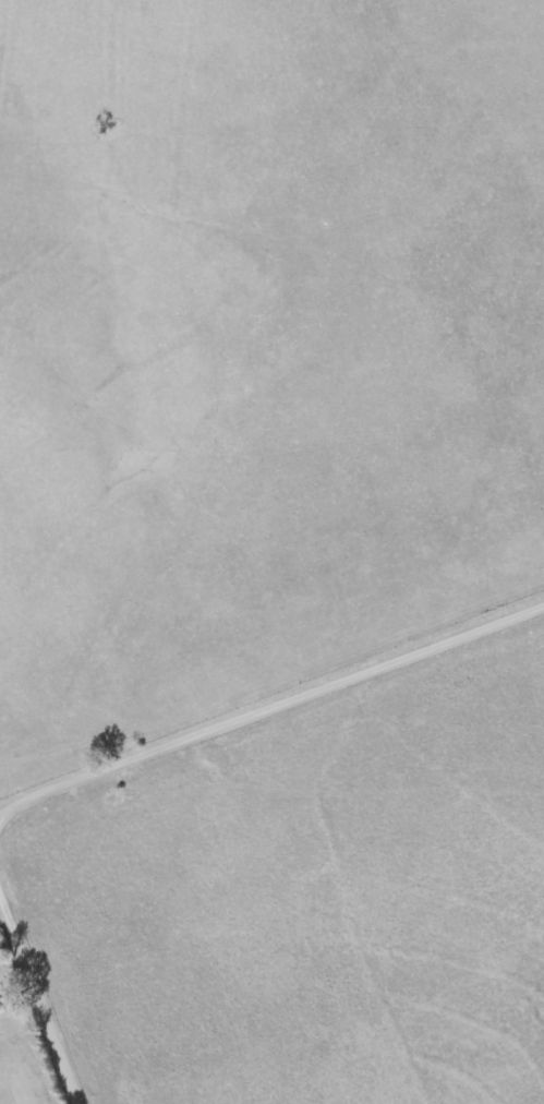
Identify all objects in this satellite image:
road: (270, 706)
road: (37, 997)

